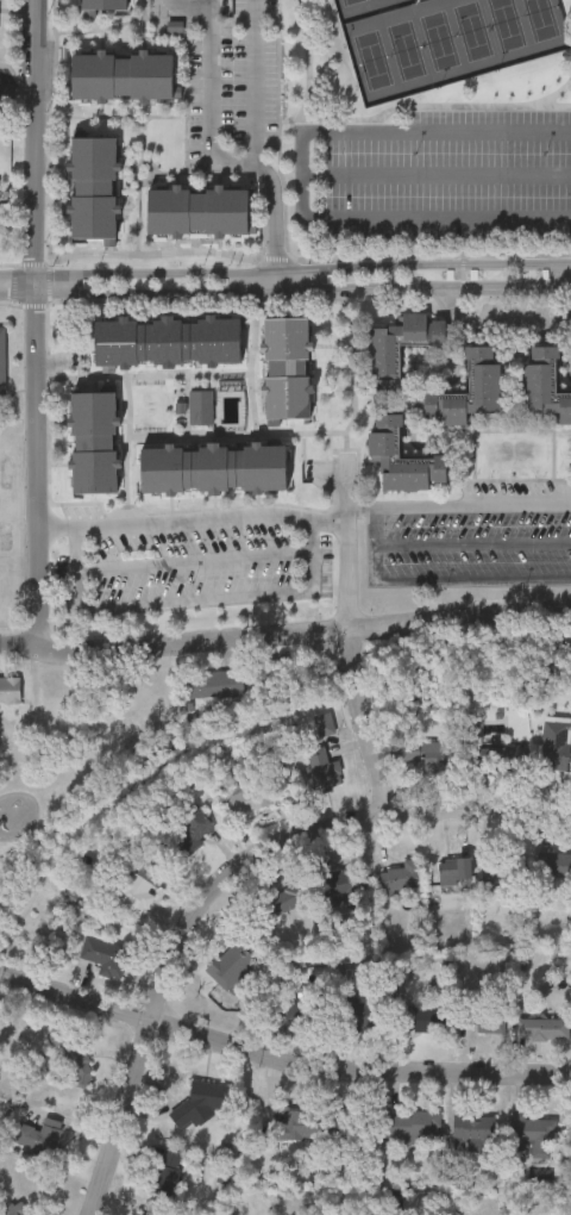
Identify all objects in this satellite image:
road: (190, 2)
park: (390, 4)
building: (105, 6)
park: (357, 8)
park: (544, 24)
park: (509, 29)
road: (101, 31)
park: (475, 33)
park: (328, 36)
park: (440, 38)
park: (406, 48)
park: (372, 57)
road: (57, 58)
parking lot: (230, 70)
building: (123, 79)
road: (17, 83)
park: (464, 83)
road: (212, 98)
road: (167, 117)
road: (280, 121)
road: (438, 129)
road: (33, 145)
road: (257, 148)
building: (94, 167)
road: (128, 168)
road: (156, 174)
road: (249, 174)
road: (438, 174)
road: (305, 175)
parking lot: (437, 175)
road: (178, 182)
road: (219, 182)
road: (127, 212)
building: (196, 213)
road: (438, 219)
building: (94, 220)
road: (139, 222)
road: (51, 248)
road: (84, 255)
road: (285, 269)
road: (570, 272)
road: (287, 292)
road: (412, 292)
road: (256, 317)
building: (165, 338)
building: (403, 341)
building: (2, 357)
building: (284, 367)
building: (483, 374)
building: (545, 382)
road: (354, 385)
road: (251, 401)
road: (131, 407)
building: (202, 407)
building: (181, 409)
building: (232, 410)
road: (513, 431)
road: (300, 434)
building: (92, 438)
building: (382, 441)
road: (305, 457)
building: (211, 465)
road: (36, 469)
parking lot: (516, 488)
road: (475, 505)
road: (364, 506)
parking lot: (84, 511)
road: (57, 528)
road: (475, 546)
parking lot: (469, 547)
road: (349, 548)
road: (196, 561)
parking lot: (197, 561)
road: (439, 577)
road: (80, 582)
road: (459, 618)
road: (172, 642)
building: (545, 642)
building: (219, 684)
building: (8, 688)
road: (365, 721)
building: (325, 723)
building: (557, 746)
building: (432, 755)
building: (503, 756)
building: (324, 768)
building: (257, 792)
park: (34, 811)
building: (192, 829)
building: (554, 862)
building: (453, 870)
building: (508, 873)
building: (403, 874)
road: (220, 878)
building: (344, 881)
building: (142, 886)
building: (285, 899)
building: (103, 952)
building: (238, 957)
building: (300, 1004)
building: (365, 1010)
building: (425, 1017)
building: (490, 1018)
building: (545, 1028)
road: (280, 1053)
building: (70, 1057)
building: (200, 1103)
building: (305, 1123)
building: (416, 1124)
building: (532, 1129)
building: (475, 1130)
building: (40, 1136)
building: (169, 1170)
building: (14, 1208)
building: (140, 1214)

